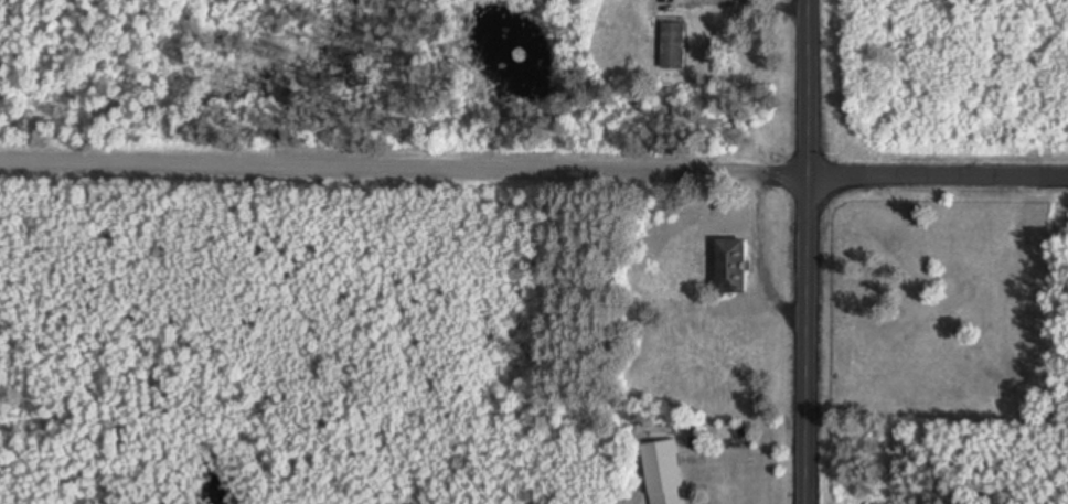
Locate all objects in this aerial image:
building: (675, 49)
road: (404, 167)
road: (938, 179)
road: (808, 251)
road: (761, 260)
building: (734, 270)
park: (879, 292)
building: (666, 474)

